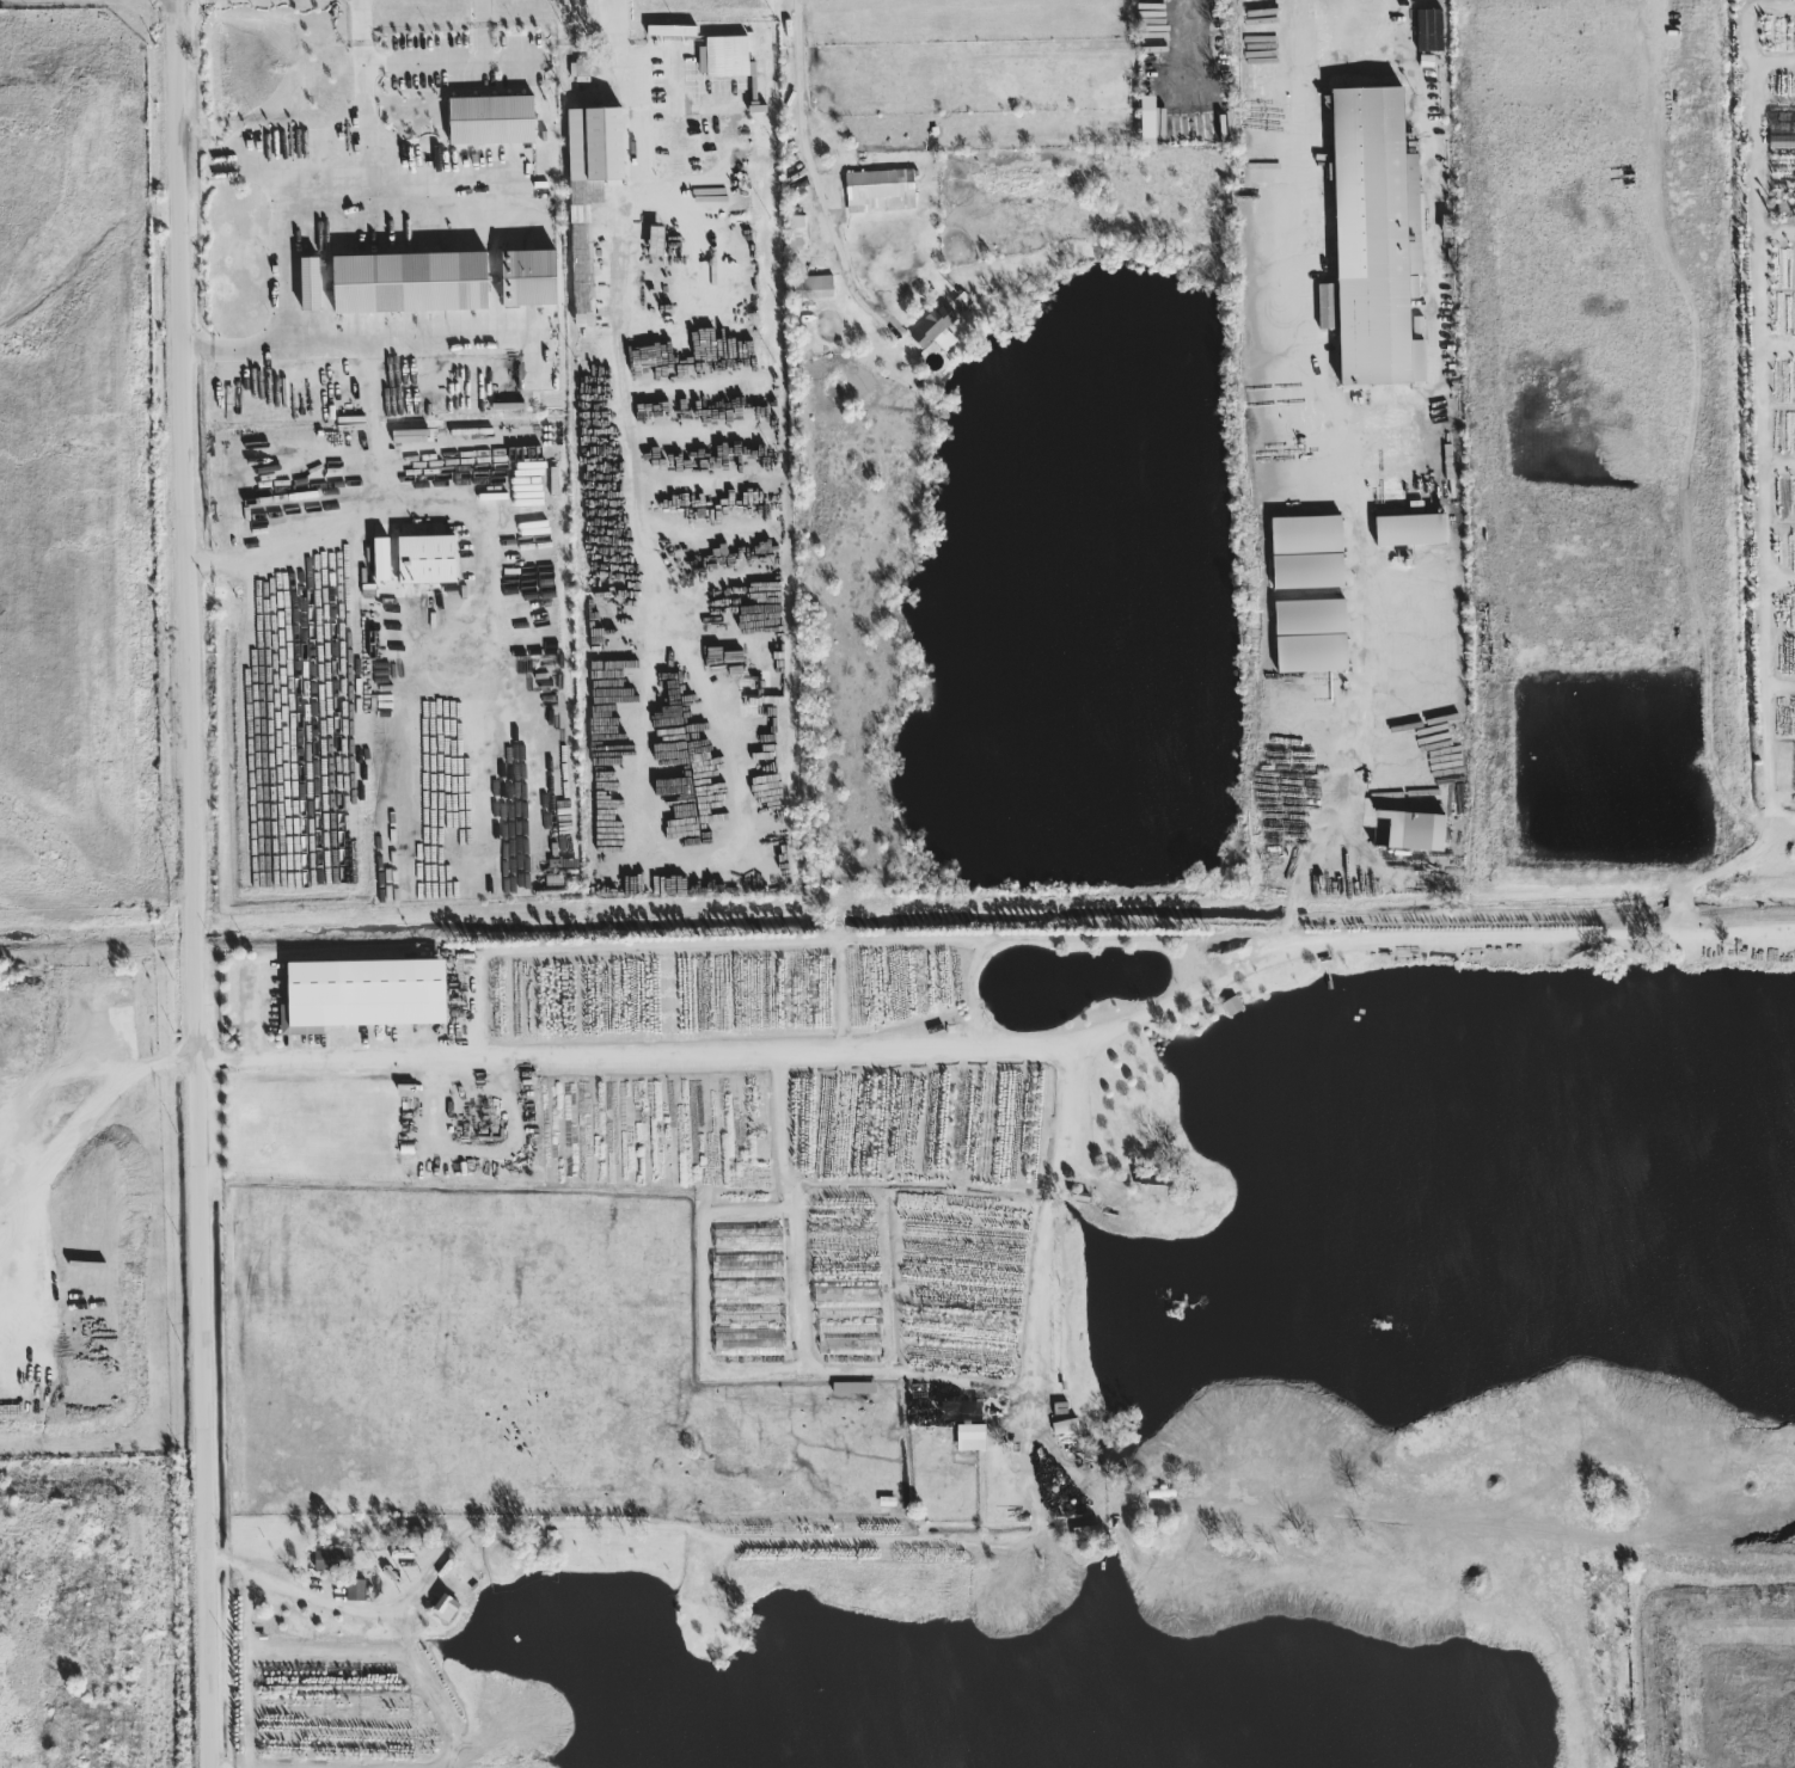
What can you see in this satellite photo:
building: (670, 29)
building: (1428, 29)
road: (1190, 41)
building: (724, 55)
road: (510, 56)
road: (451, 57)
building: (582, 66)
road: (361, 97)
road: (632, 103)
building: (491, 118)
building: (1147, 118)
building: (1787, 125)
road: (815, 164)
building: (589, 189)
building: (880, 189)
road: (327, 196)
building: (796, 231)
building: (1374, 238)
building: (528, 276)
building: (410, 281)
building: (310, 282)
building: (811, 284)
building: (935, 327)
road: (405, 343)
road: (237, 345)
road: (1331, 409)
road: (360, 521)
building: (1410, 528)
building: (1306, 550)
building: (381, 557)
building: (427, 558)
road: (473, 573)
building: (1310, 633)
building: (1414, 829)
road: (191, 884)
building: (362, 993)
building: (1232, 1003)
road: (1006, 1061)
road: (39, 1073)
road: (14, 1138)
road: (703, 1295)
road: (801, 1328)
building: (853, 1386)
building: (962, 1420)
road: (837, 1539)
building: (332, 1558)
building: (355, 1588)
building: (445, 1606)
road: (430, 1688)
road: (221, 1767)

